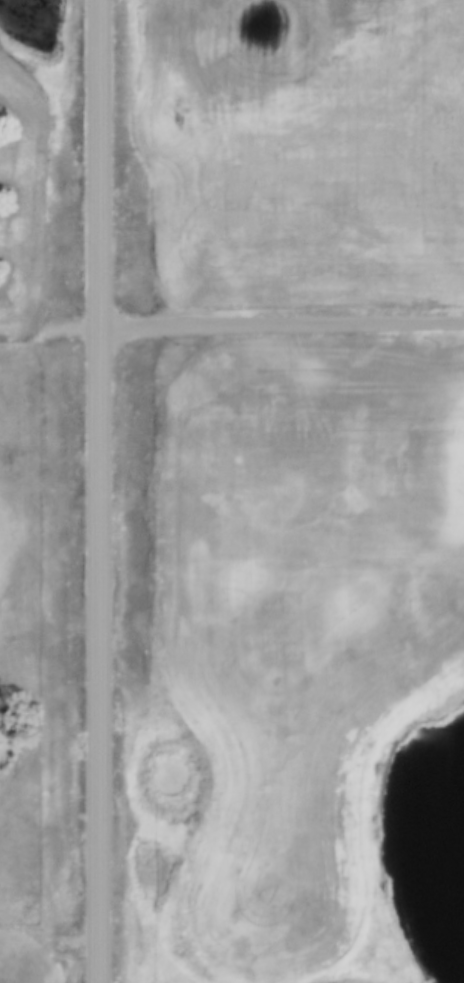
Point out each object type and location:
road: (281, 323)
road: (98, 491)
road: (36, 537)

